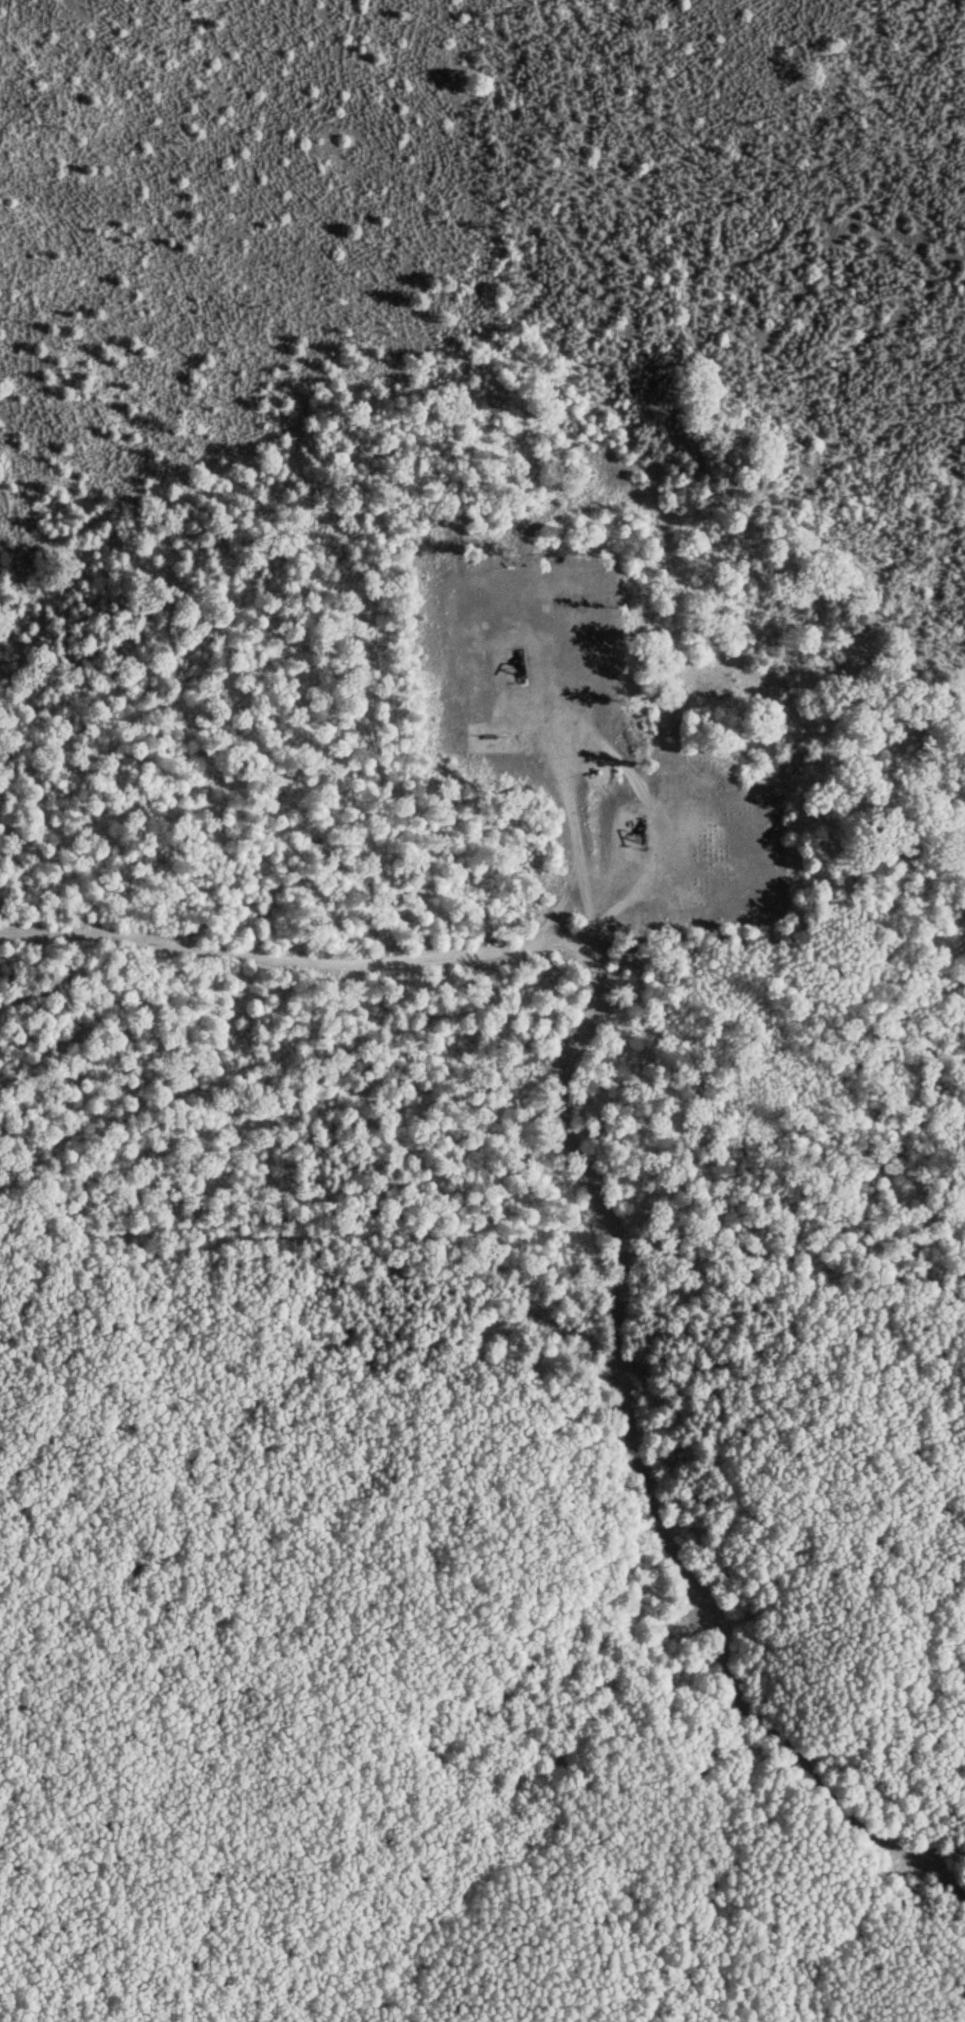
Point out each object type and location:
petroleum well: (647, 832)
road: (296, 960)
road: (630, 1404)

